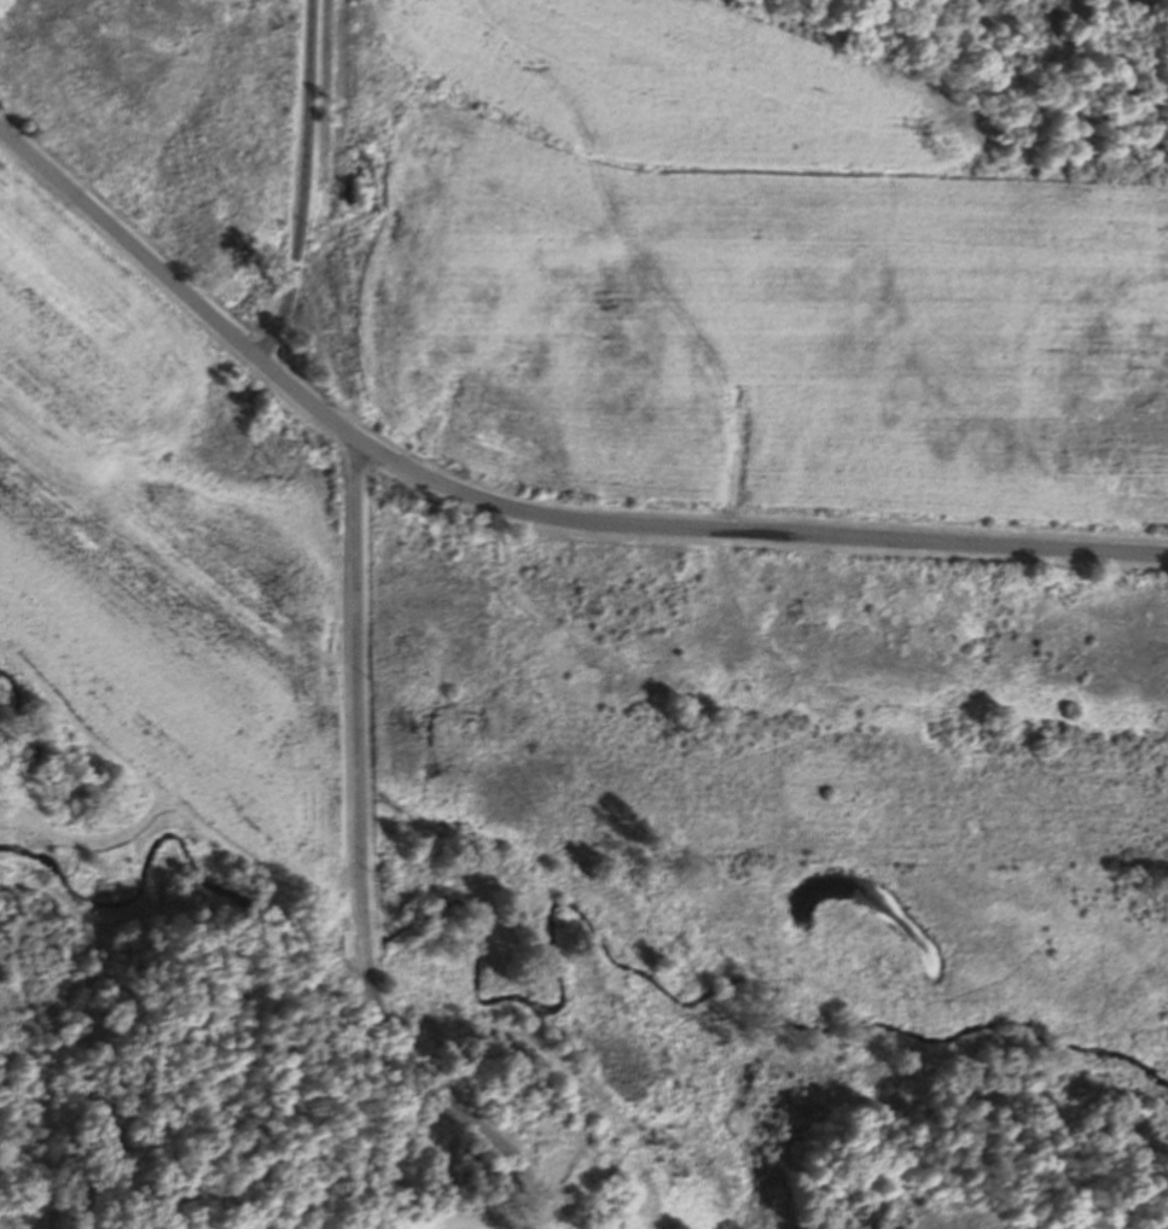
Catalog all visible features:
road: (303, 184)
road: (518, 509)
road: (361, 864)
building: (593, 1228)

